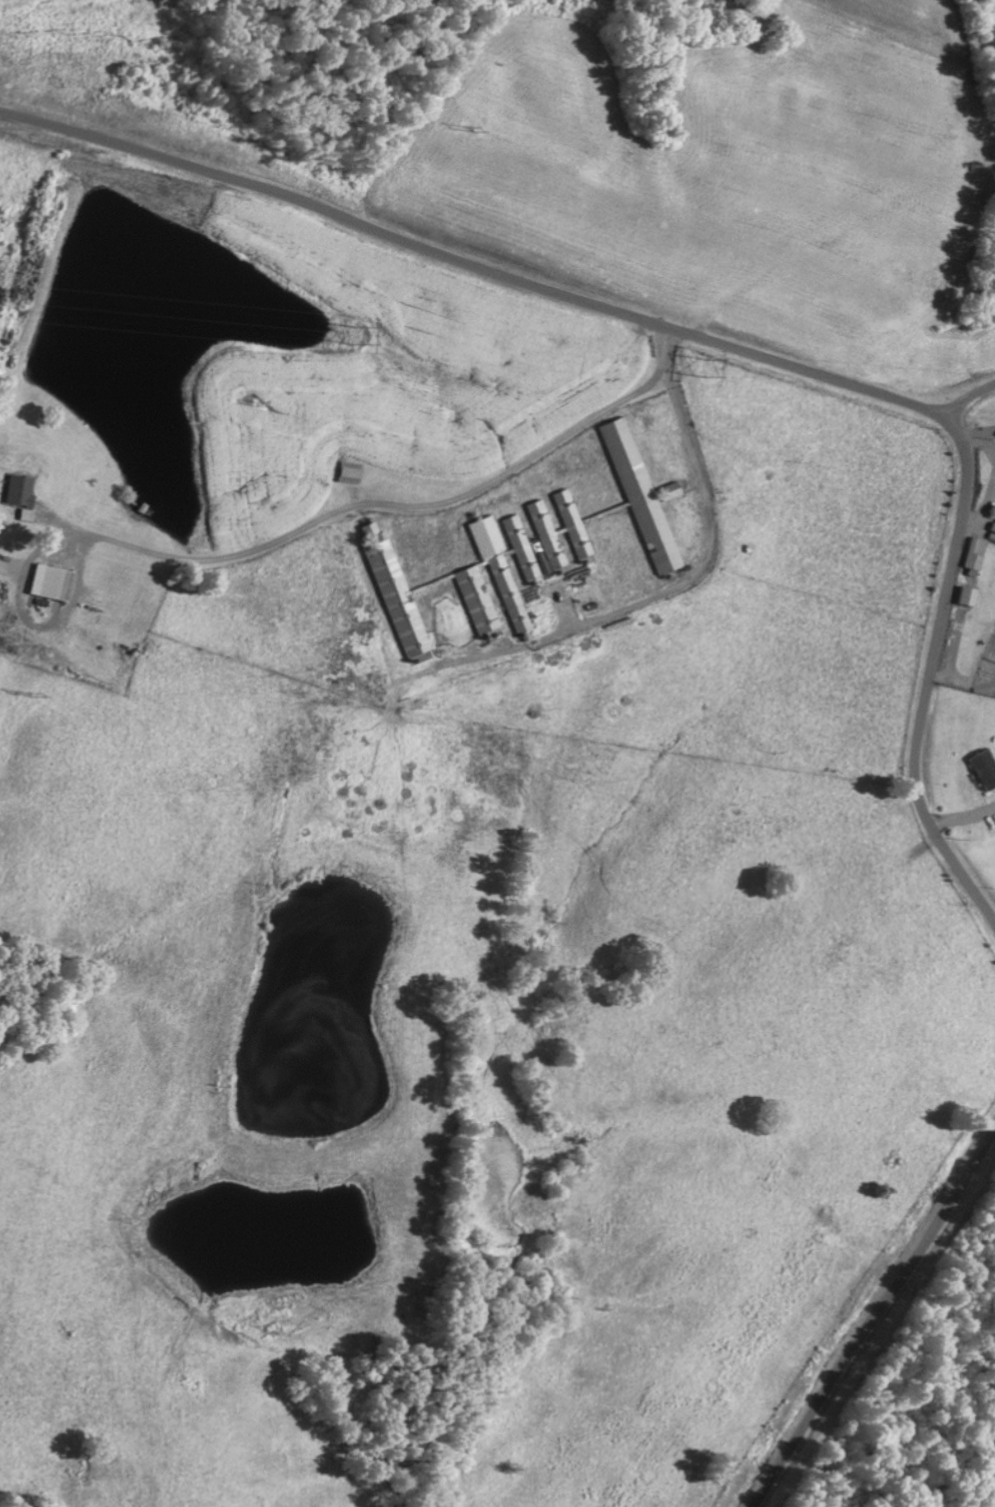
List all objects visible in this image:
power tower: (352, 336)
road: (726, 344)
power tower: (700, 365)
road: (966, 397)
building: (349, 474)
building: (20, 489)
building: (644, 497)
building: (573, 523)
building: (993, 526)
building: (546, 534)
building: (487, 536)
building: (521, 547)
building: (975, 553)
building: (51, 581)
building: (395, 591)
building: (967, 595)
building: (510, 596)
building: (477, 599)
building: (985, 768)
road: (874, 1321)

